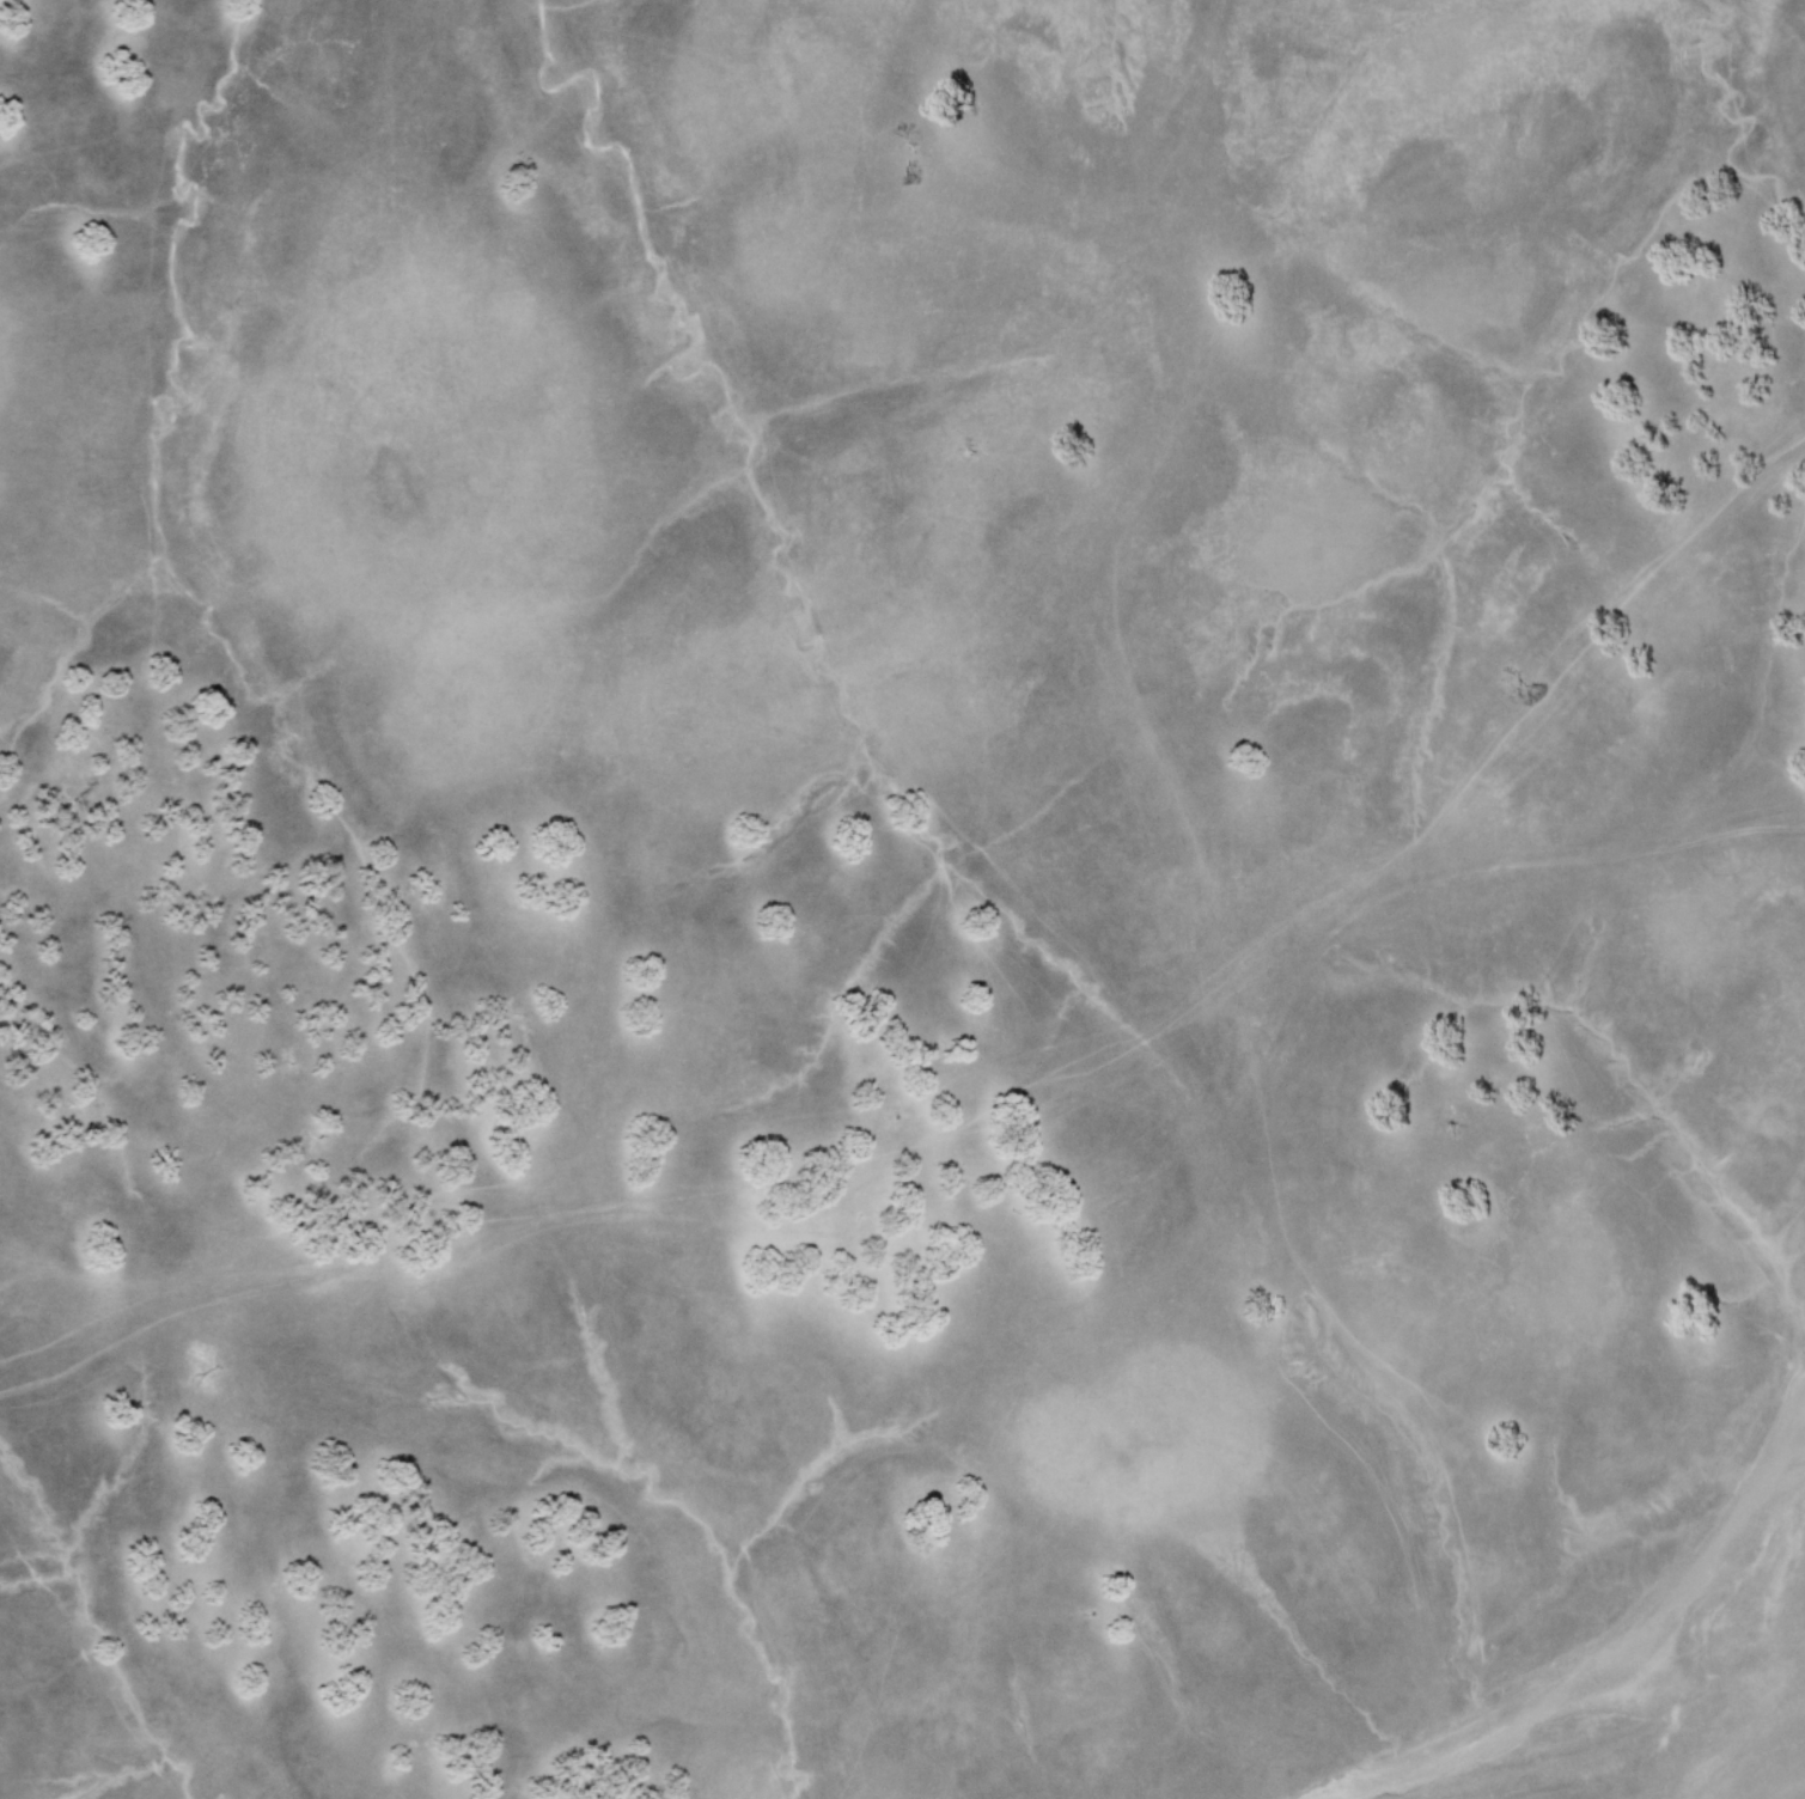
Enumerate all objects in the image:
river: (1592, 1664)

